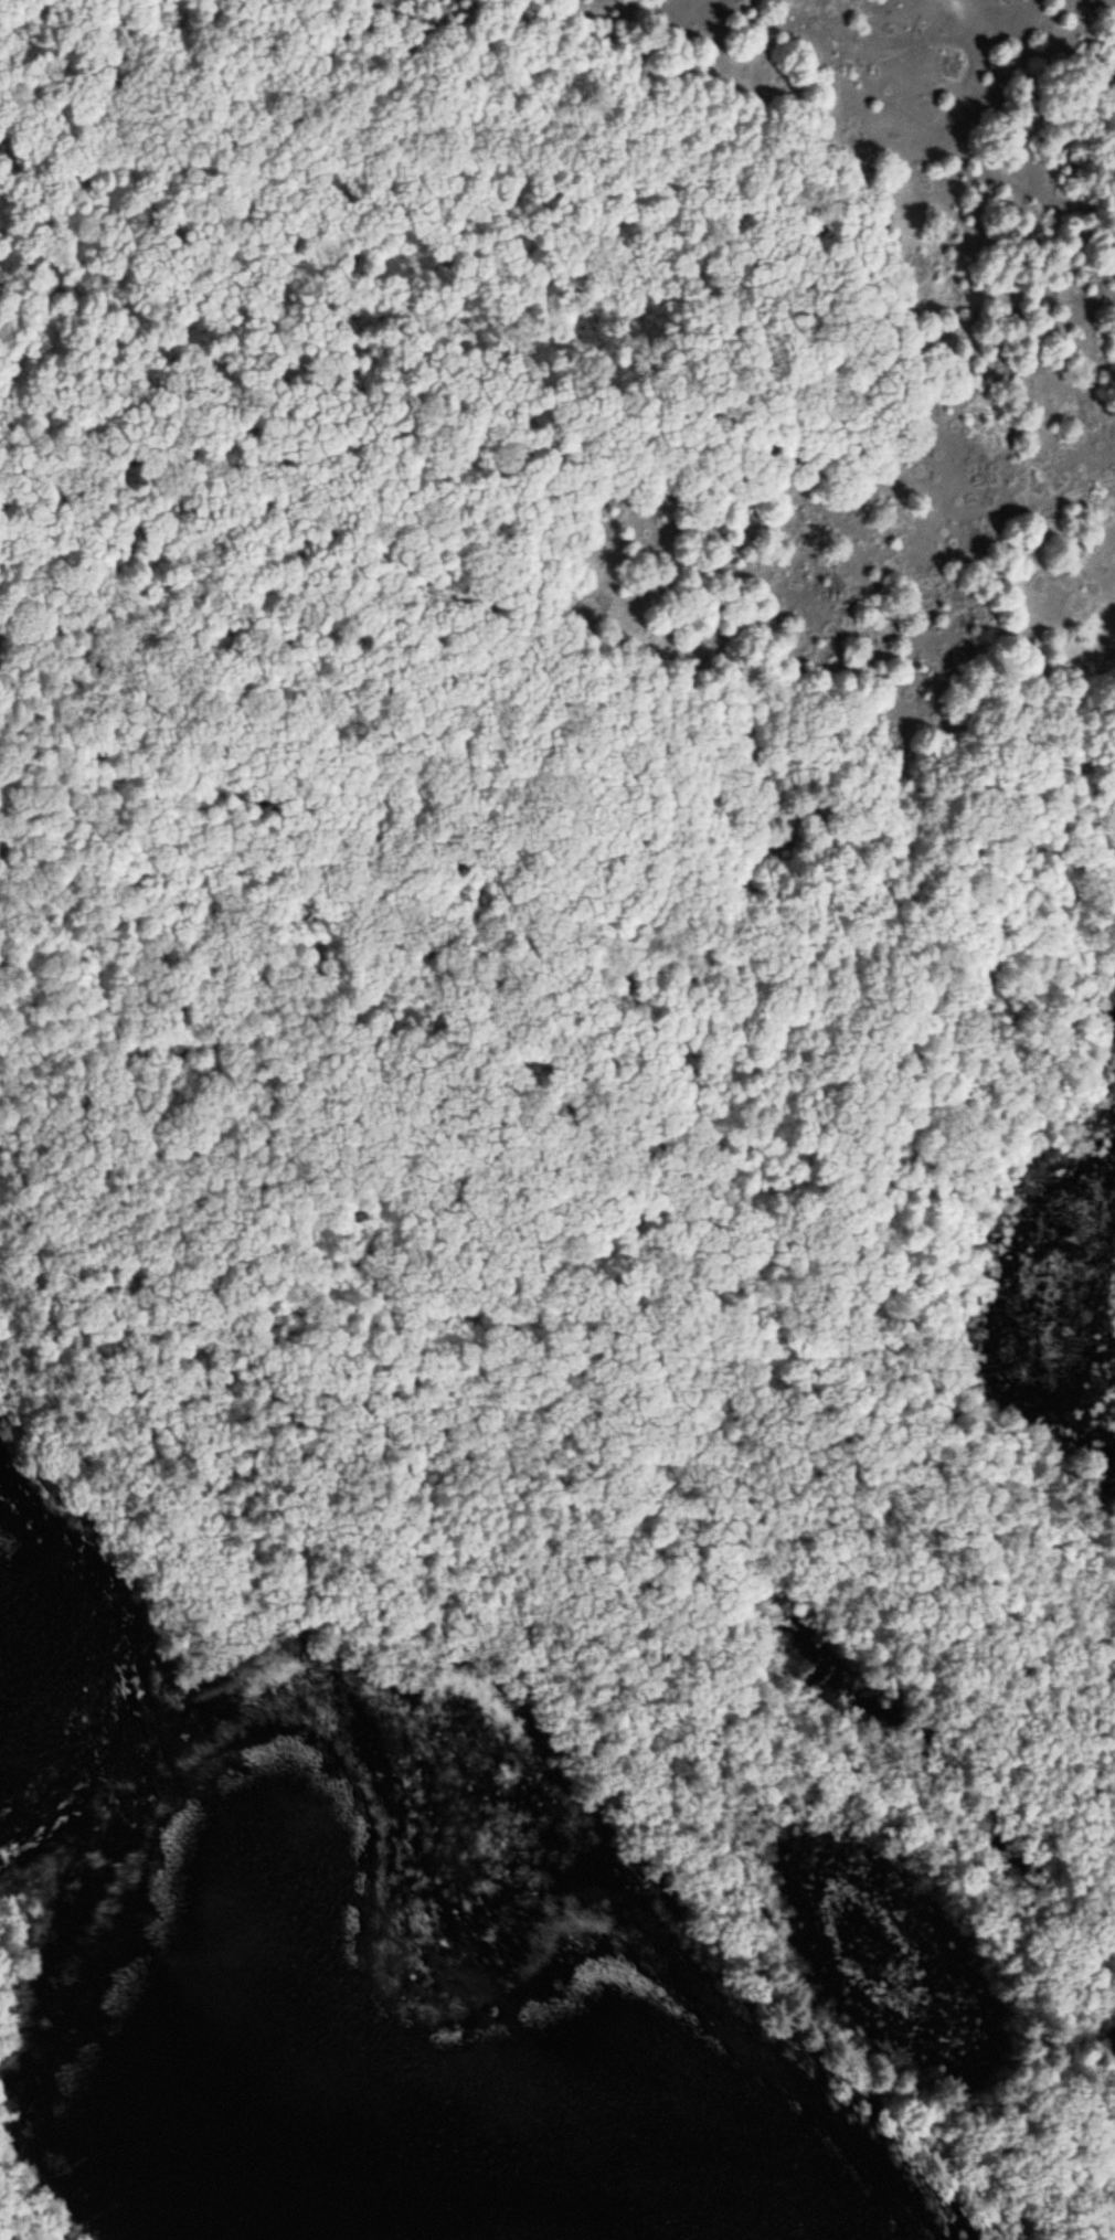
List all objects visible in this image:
road: (939, 2155)

